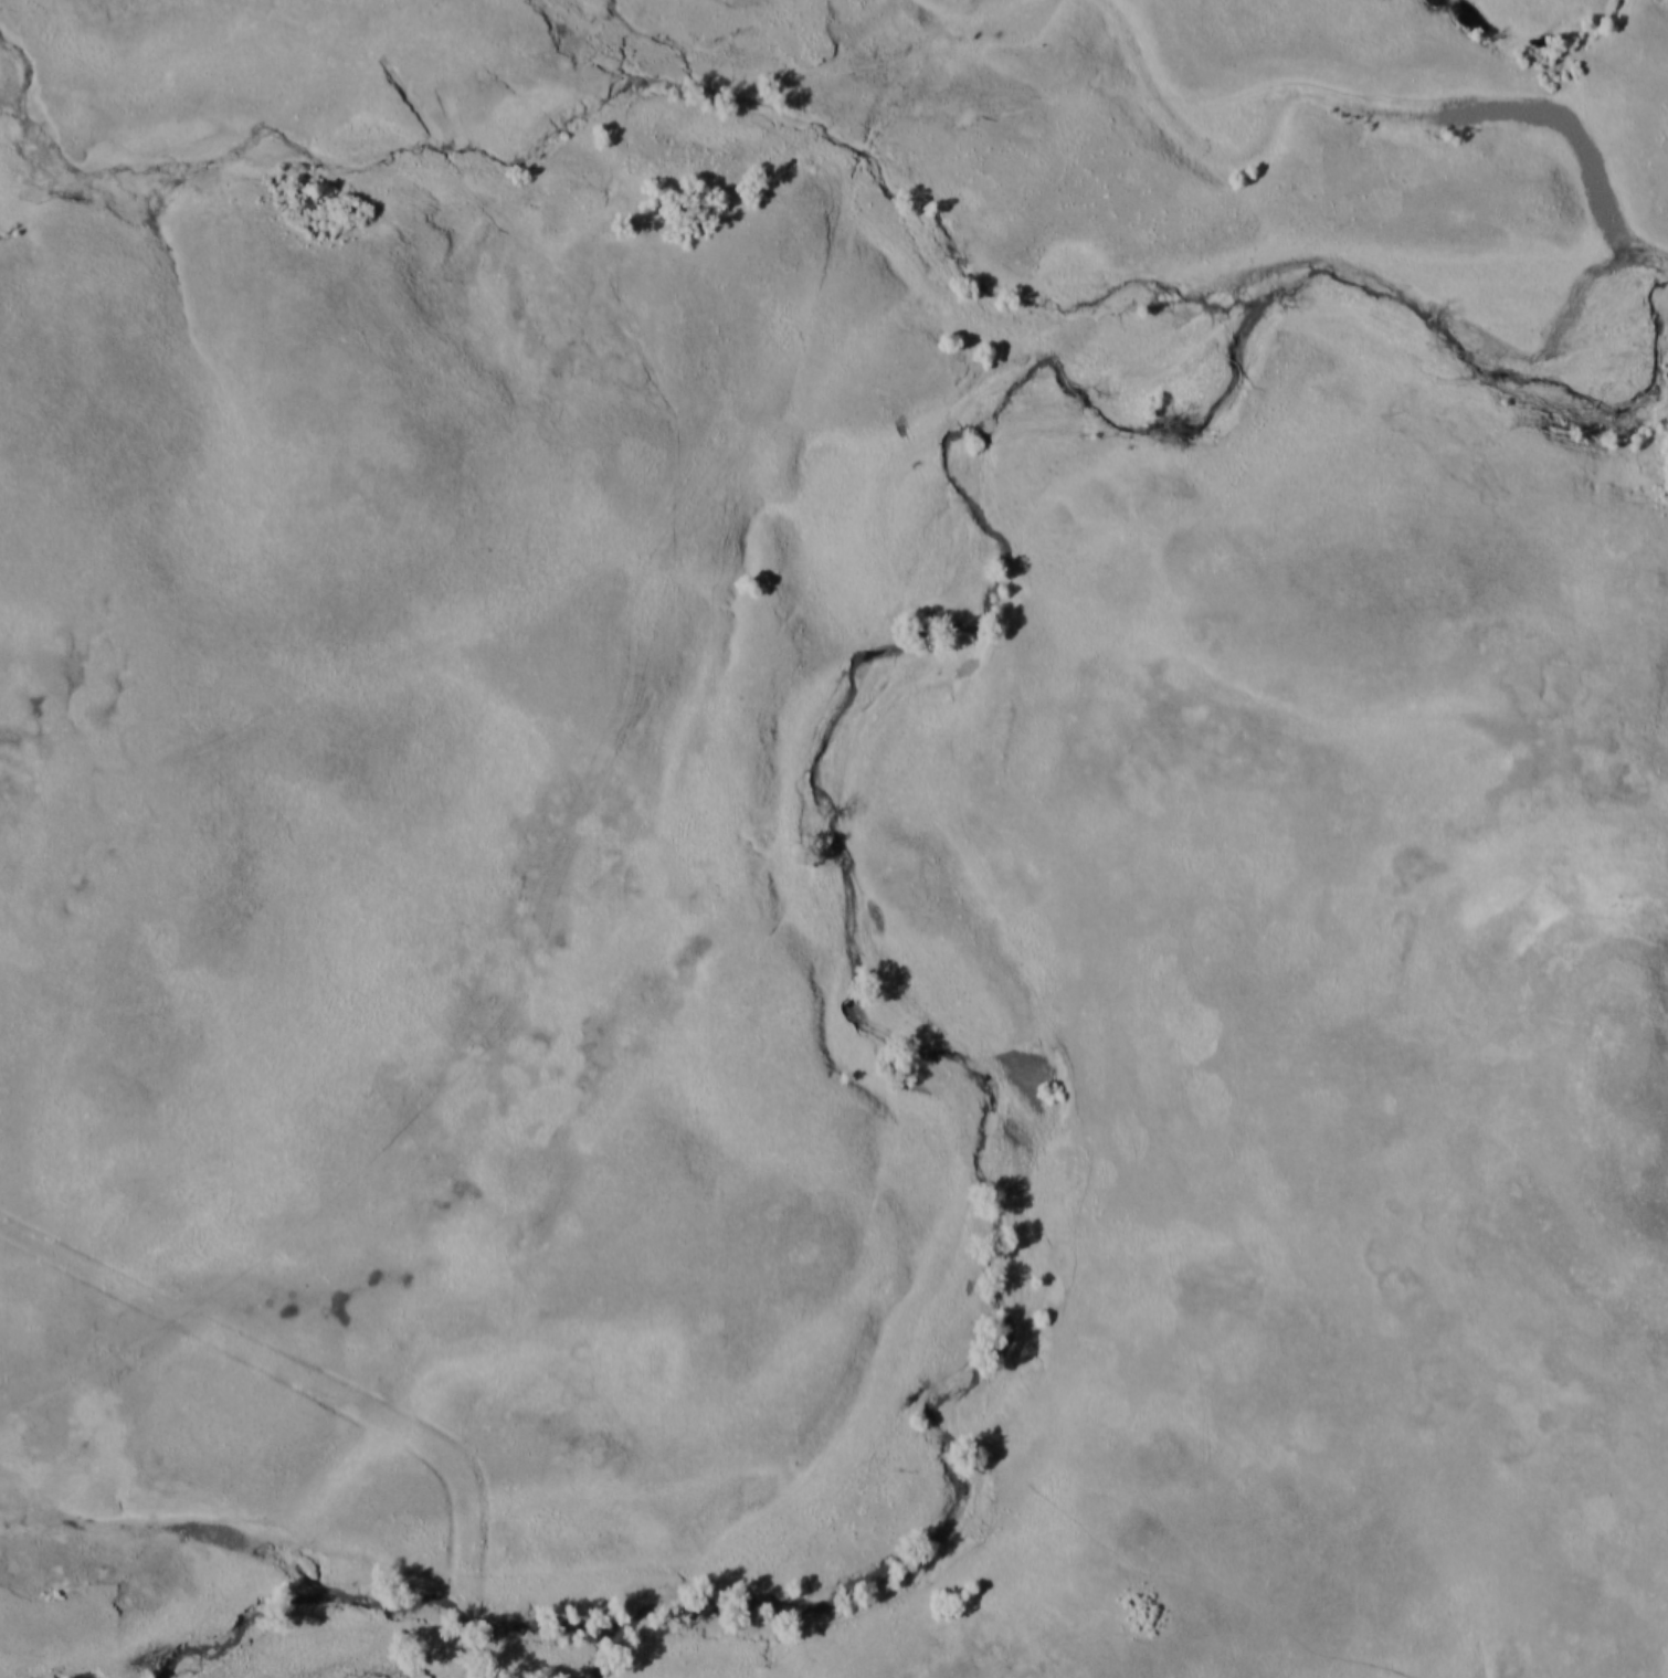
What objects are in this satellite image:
road: (277, 1358)
road: (471, 1606)
road: (466, 1665)

